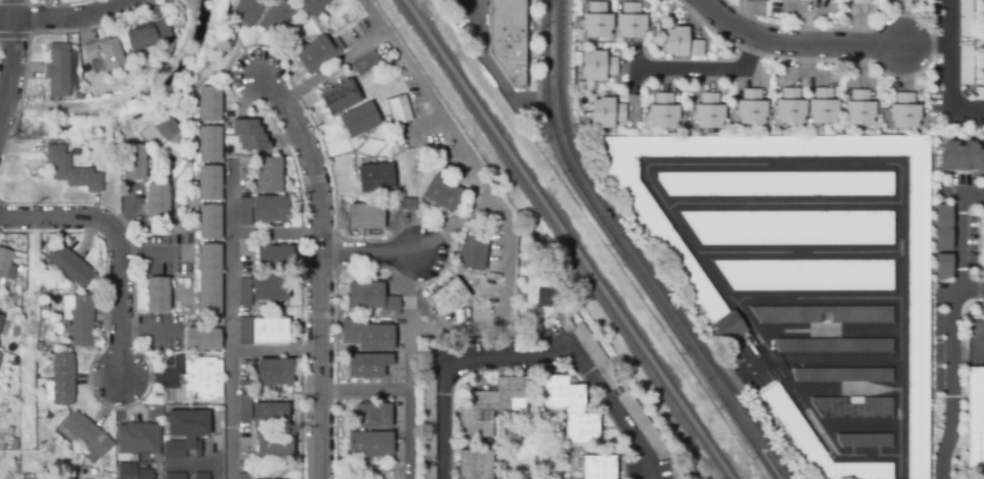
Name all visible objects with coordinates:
building: (982, 1)
building: (758, 2)
building: (860, 3)
power tower: (27, 4)
building: (311, 7)
building: (248, 11)
building: (276, 18)
building: (965, 18)
road: (74, 22)
road: (6, 23)
building: (598, 23)
building: (632, 23)
building: (146, 36)
building: (347, 38)
building: (508, 45)
building: (679, 45)
road: (818, 45)
building: (314, 55)
building: (103, 56)
road: (8, 58)
road: (331, 64)
building: (366, 64)
building: (966, 66)
building: (983, 67)
building: (599, 68)
road: (706, 70)
building: (57, 71)
road: (949, 71)
building: (979, 94)
power tower: (29, 95)
building: (339, 98)
building: (209, 105)
road: (1, 106)
building: (787, 108)
building: (823, 108)
building: (400, 109)
building: (753, 110)
building: (861, 111)
building: (902, 111)
building: (665, 114)
building: (607, 115)
building: (710, 115)
building: (359, 120)
building: (167, 129)
road: (454, 133)
power tower: (7, 136)
building: (248, 136)
building: (209, 145)
building: (412, 145)
building: (957, 157)
building: (132, 163)
road: (838, 165)
building: (455, 169)
building: (71, 172)
building: (244, 173)
building: (267, 176)
building: (375, 179)
building: (209, 185)
building: (780, 185)
building: (441, 195)
power tower: (30, 198)
building: (157, 202)
building: (402, 205)
road: (786, 205)
building: (269, 210)
building: (244, 213)
building: (365, 217)
building: (209, 224)
building: (792, 229)
building: (937, 230)
road: (274, 232)
railway: (568, 239)
building: (668, 241)
building: (980, 241)
road: (120, 245)
road: (368, 251)
building: (472, 253)
road: (630, 253)
building: (244, 254)
road: (803, 256)
building: (274, 260)
building: (4, 263)
building: (495, 265)
building: (71, 267)
building: (937, 268)
road: (320, 269)
building: (808, 276)
building: (209, 282)
power tower: (30, 288)
building: (269, 288)
building: (244, 293)
road: (972, 293)
building: (157, 296)
building: (365, 296)
building: (447, 297)
road: (818, 303)
building: (980, 308)
building: (1, 316)
building: (788, 319)
road: (946, 319)
building: (79, 320)
road: (230, 320)
building: (1, 321)
building: (725, 328)
building: (269, 331)
building: (244, 332)
road: (753, 332)
road: (828, 334)
building: (374, 338)
building: (202, 340)
building: (835, 347)
road: (275, 350)
building: (0, 356)
road: (524, 357)
road: (837, 360)
building: (168, 362)
road: (407, 362)
parking lot: (749, 365)
building: (365, 367)
building: (398, 370)
building: (274, 372)
building: (245, 373)
building: (843, 376)
building: (63, 380)
building: (202, 380)
building: (620, 391)
road: (848, 392)
building: (168, 396)
building: (490, 407)
building: (244, 408)
building: (567, 408)
building: (853, 409)
building: (398, 412)
road: (806, 413)
building: (269, 416)
building: (373, 417)
building: (429, 420)
building: (972, 420)
road: (860, 427)
building: (7, 431)
building: (185, 433)
building: (87, 435)
building: (137, 439)
building: (865, 442)
building: (815, 443)
building: (365, 445)
building: (273, 446)
power tower: (27, 448)
road: (211, 448)
building: (245, 453)
building: (398, 454)
building: (474, 465)
road: (901, 467)
building: (597, 468)
building: (428, 472)
building: (133, 473)
building: (175, 476)
building: (201, 476)
building: (243, 476)
building: (398, 476)
building: (55, 478)

